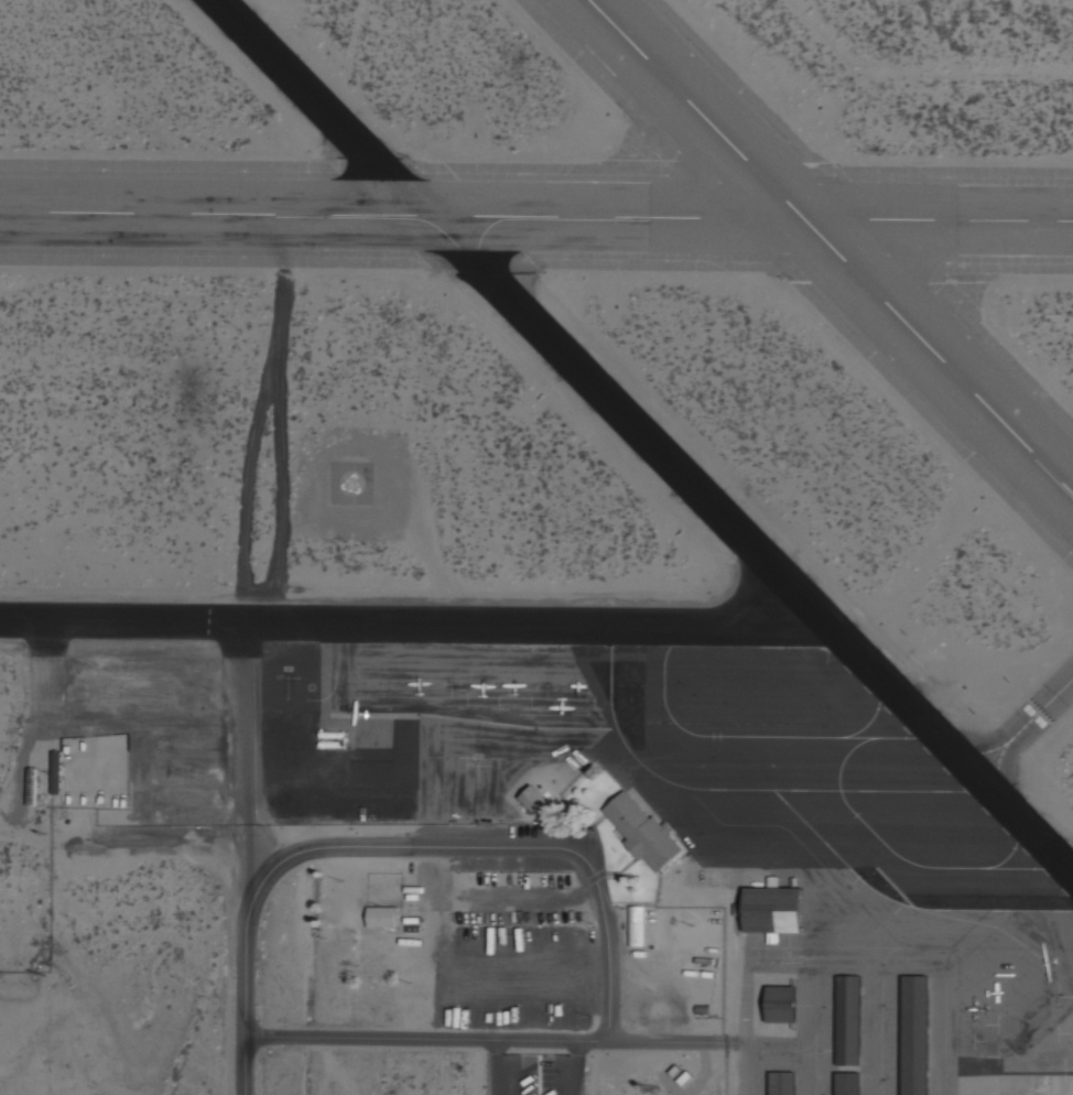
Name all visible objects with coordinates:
airport runway: (535, 196)
airport runway: (836, 242)
airport taxiway: (646, 435)
airport: (536, 547)
airport taxiway: (414, 618)
airport taxiway: (1025, 726)
building: (55, 773)
building: (31, 787)
building: (531, 798)
building: (643, 831)
road: (399, 845)
road: (530, 897)
building: (770, 910)
building: (379, 918)
building: (633, 925)
building: (777, 1004)
building: (847, 1020)
building: (914, 1034)
road: (423, 1040)
road: (662, 1041)
road: (501, 1066)
road: (574, 1067)
building: (779, 1084)
building: (845, 1084)

